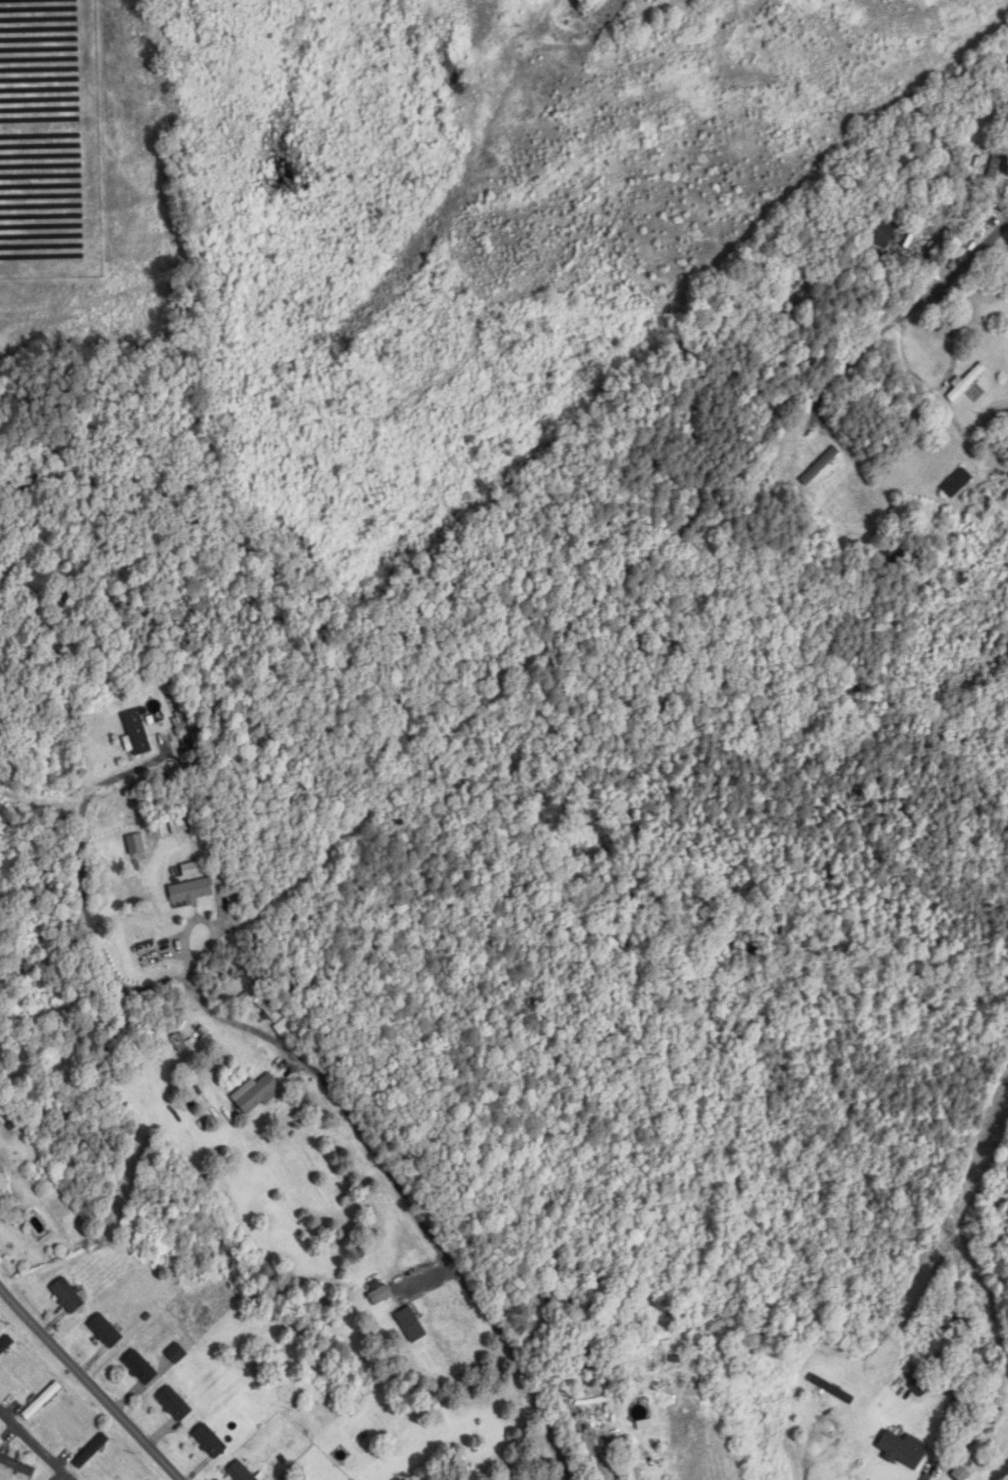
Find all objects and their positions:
building: (879, 232)
road: (847, 357)
road: (942, 385)
building: (968, 385)
building: (821, 466)
building: (958, 483)
building: (137, 732)
building: (192, 869)
building: (192, 892)
building: (282, 1024)
road: (305, 1065)
building: (259, 1094)
building: (1, 1186)
building: (999, 1243)
building: (382, 1295)
building: (67, 1296)
building: (411, 1324)
building: (106, 1331)
building: (5, 1344)
building: (583, 1357)
building: (141, 1367)
road: (90, 1383)
building: (923, 1384)
building: (42, 1400)
building: (175, 1403)
building: (210, 1440)
road: (587, 1440)
building: (903, 1449)
building: (92, 1450)
road: (30, 1451)
building: (16, 1465)
building: (241, 1472)

